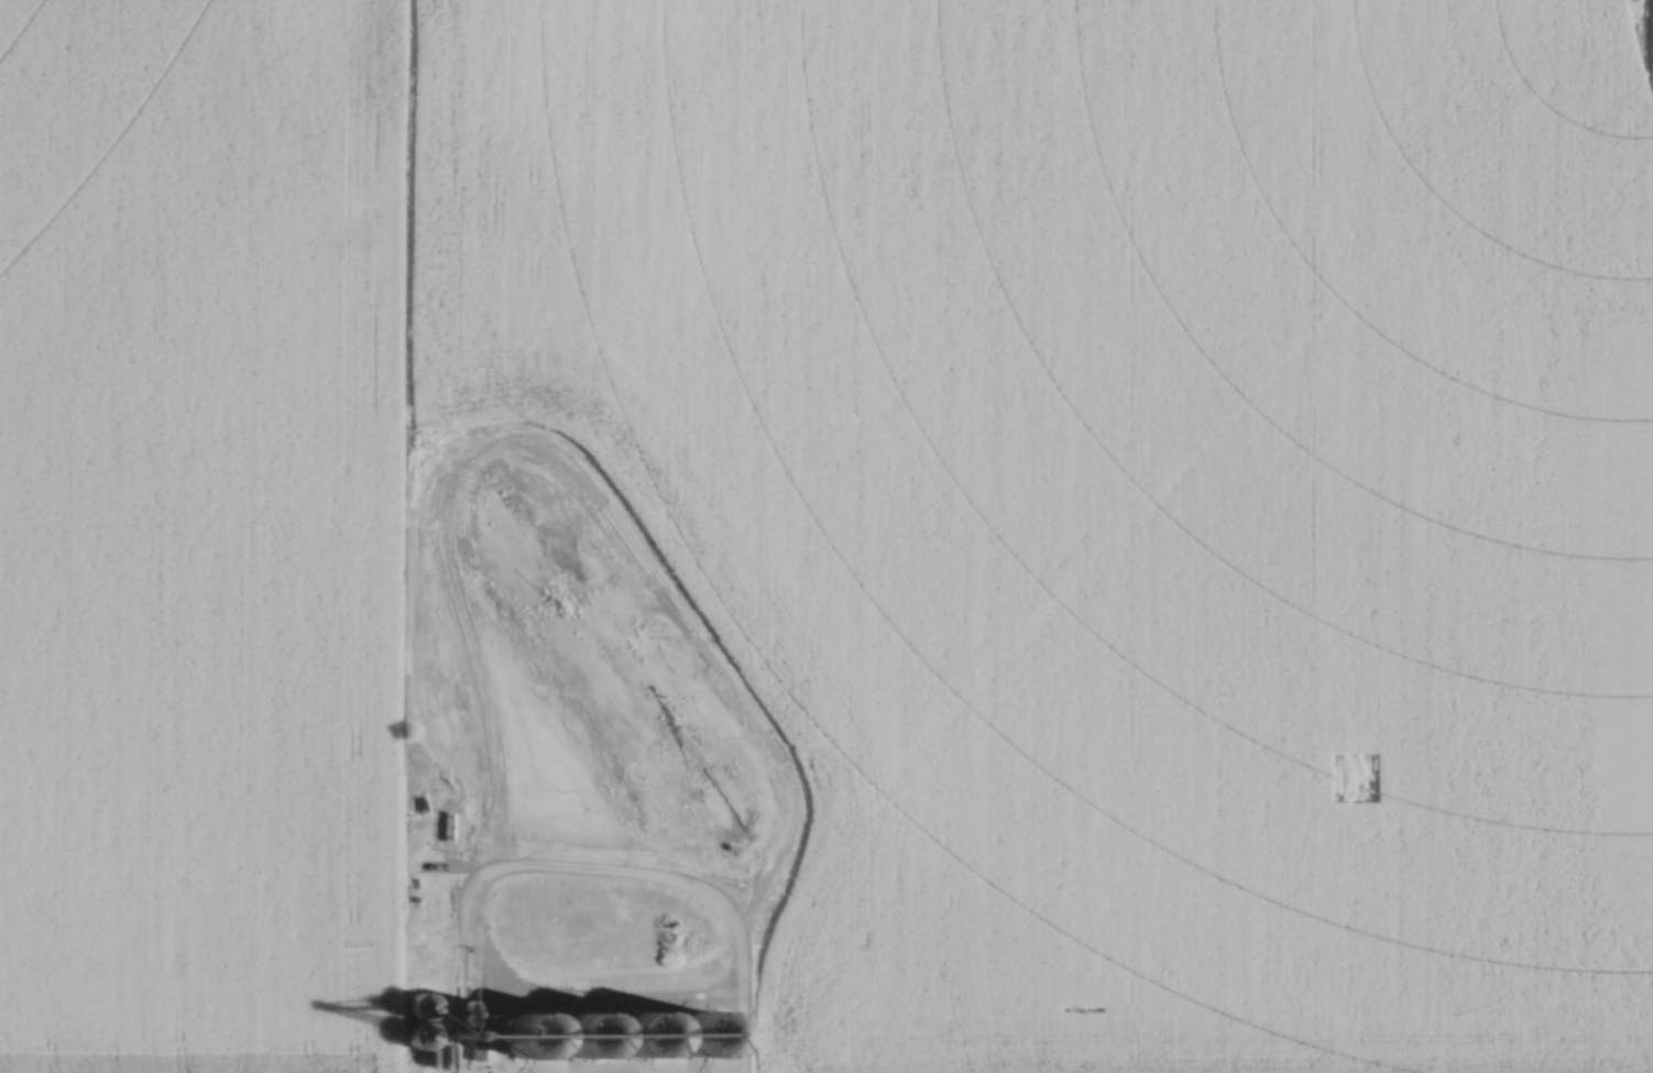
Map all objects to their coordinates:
building: (418, 1004)
building: (416, 1033)
building: (526, 1036)
building: (578, 1041)

